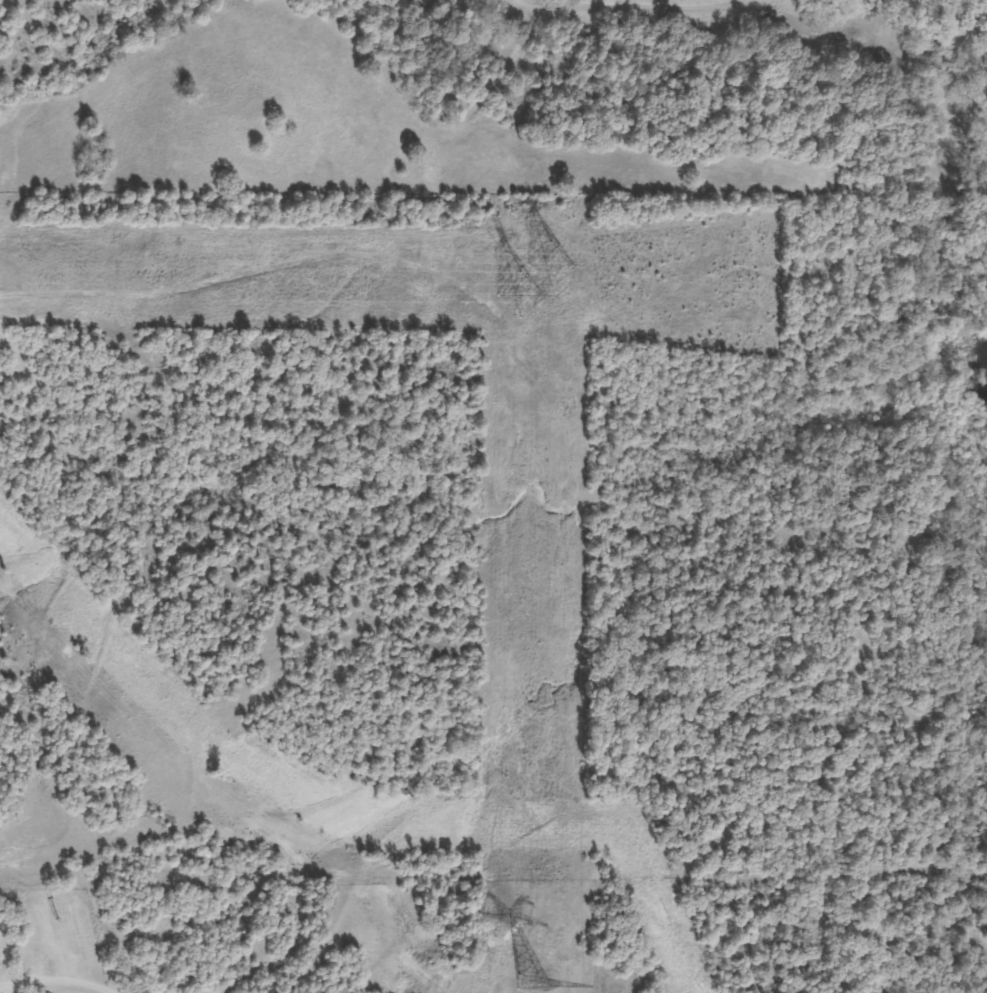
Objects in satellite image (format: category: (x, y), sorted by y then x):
power tower: (534, 281)
road: (32, 689)
power tower: (530, 983)
road: (49, 986)
road: (0, 992)

